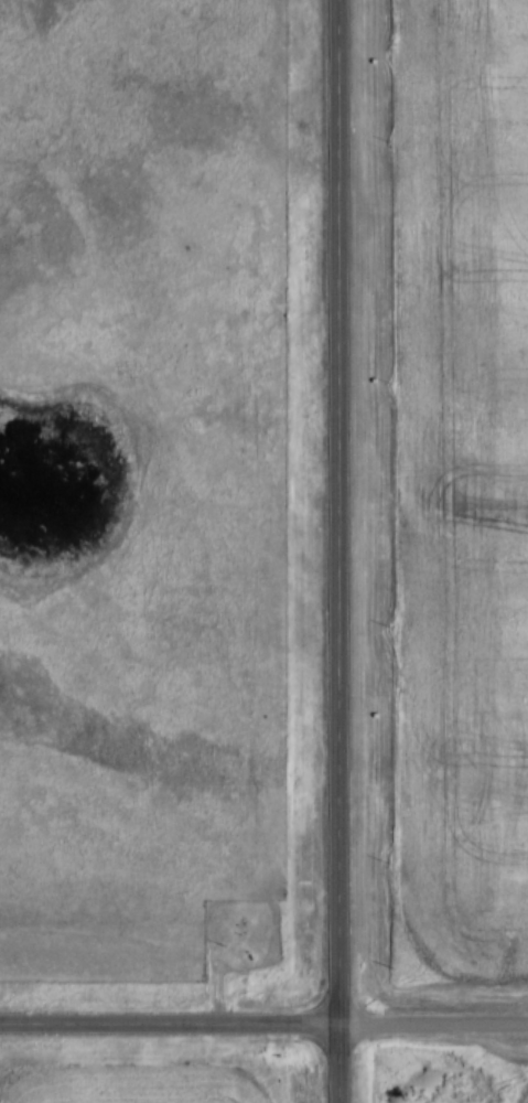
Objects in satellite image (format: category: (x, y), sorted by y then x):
road: (320, 551)
road: (160, 1021)
road: (423, 1022)

